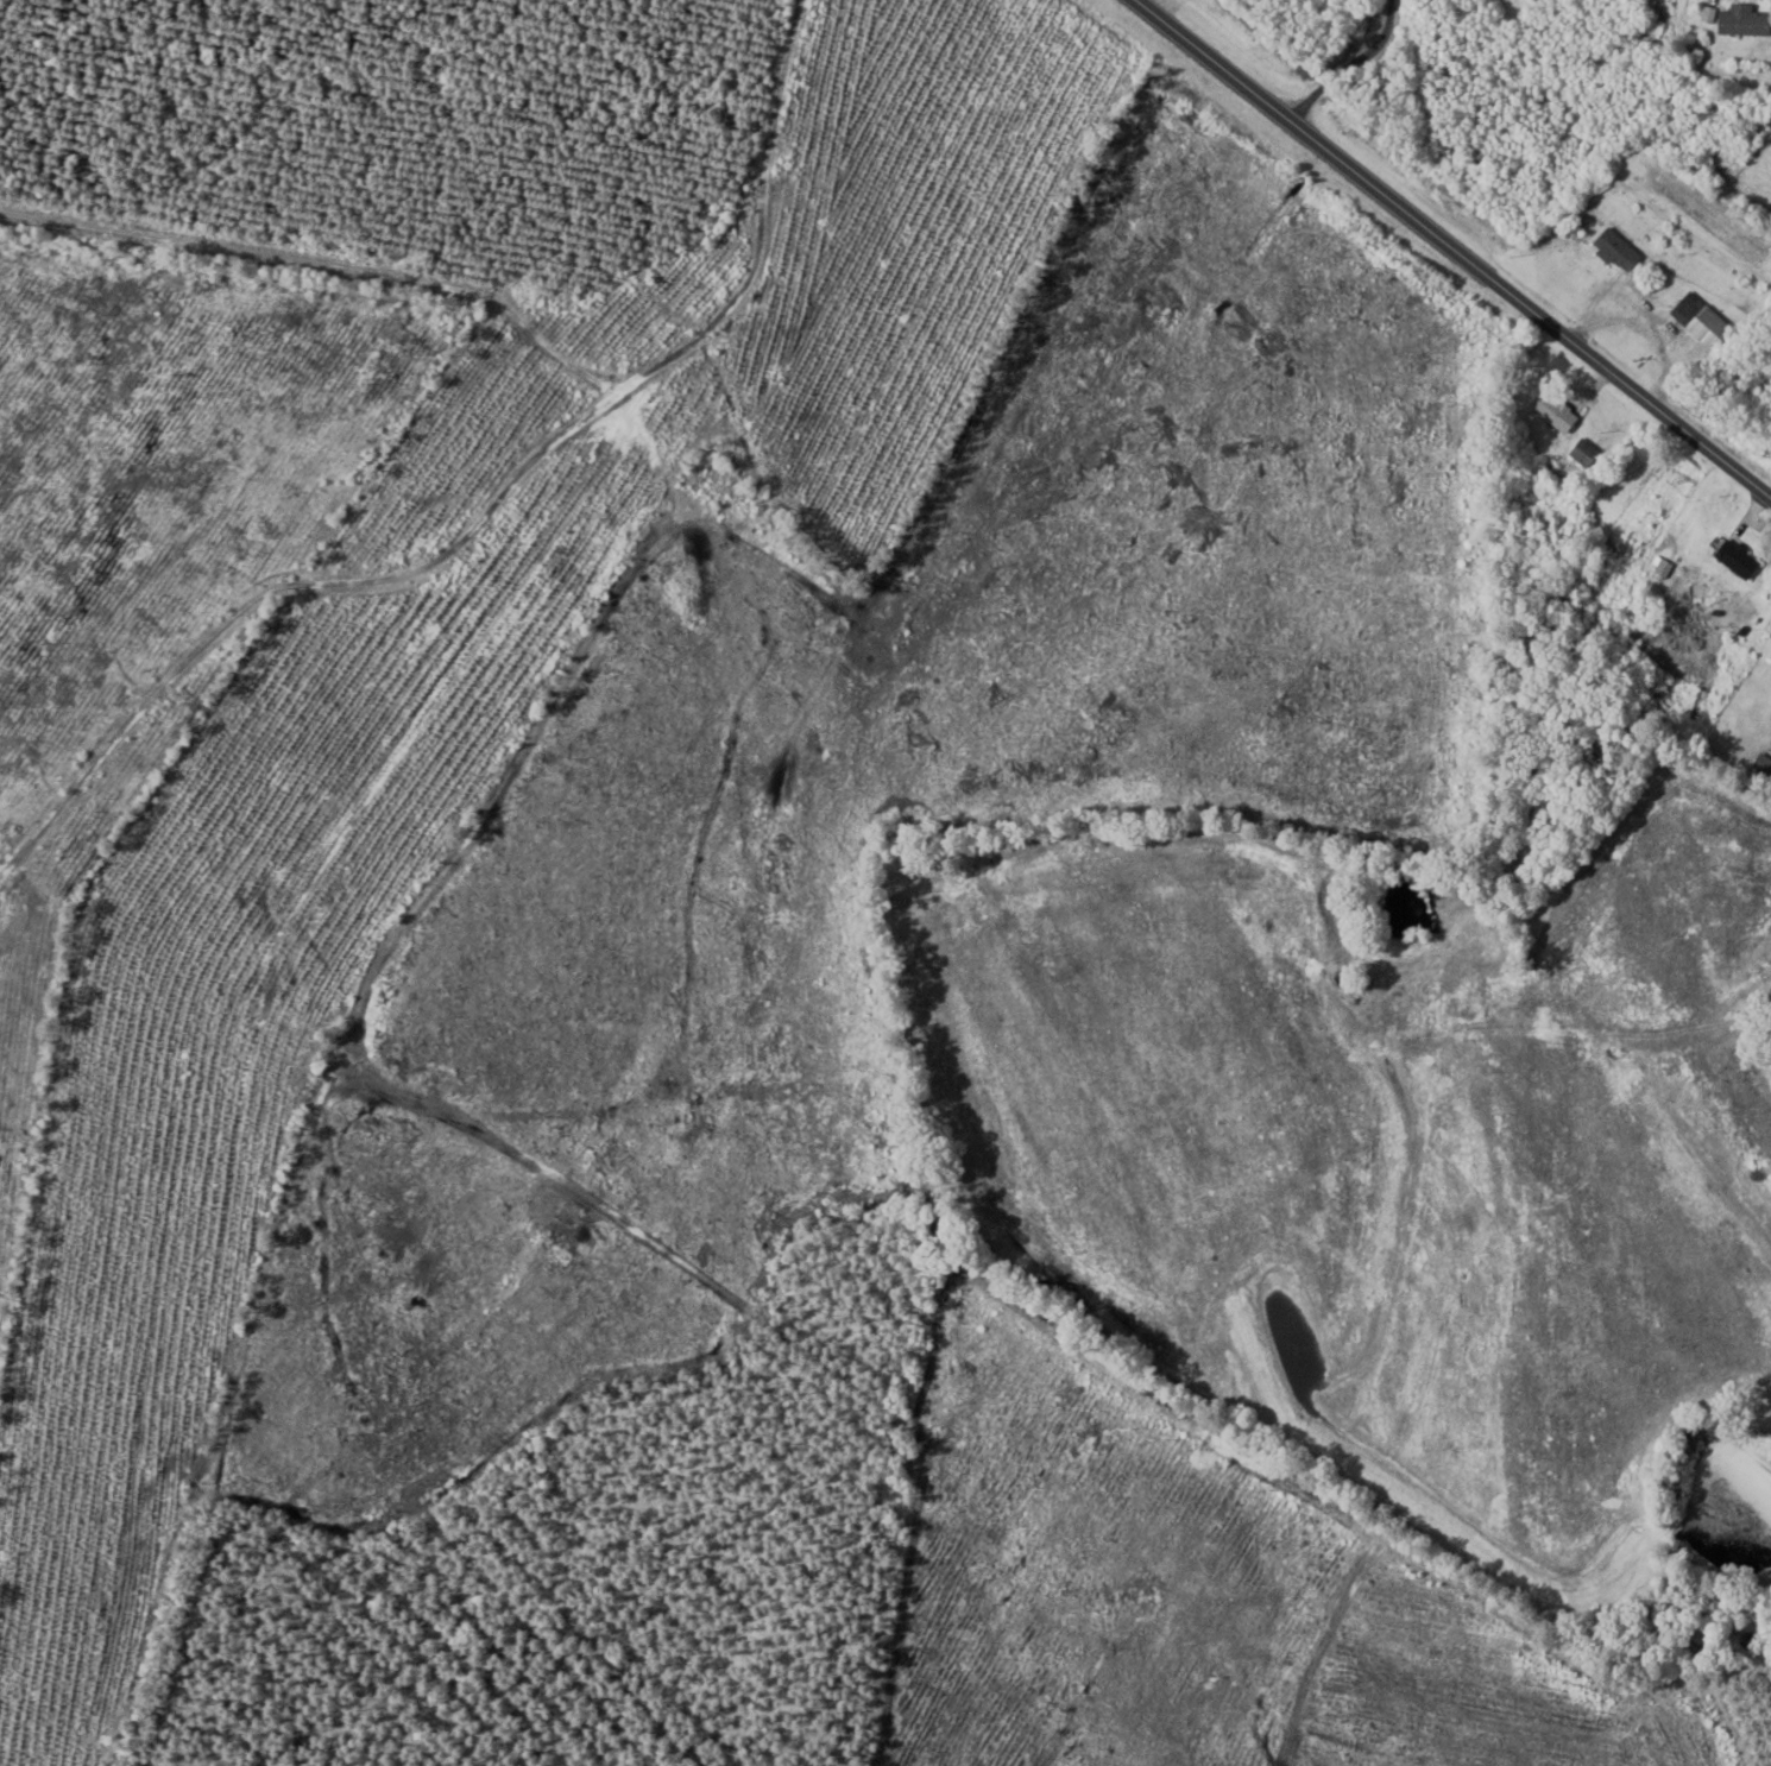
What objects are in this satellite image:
building: (1723, 23)
building: (1609, 247)
road: (1445, 260)
building: (1693, 316)
building: (1549, 411)
building: (1580, 453)
building: (1729, 557)

